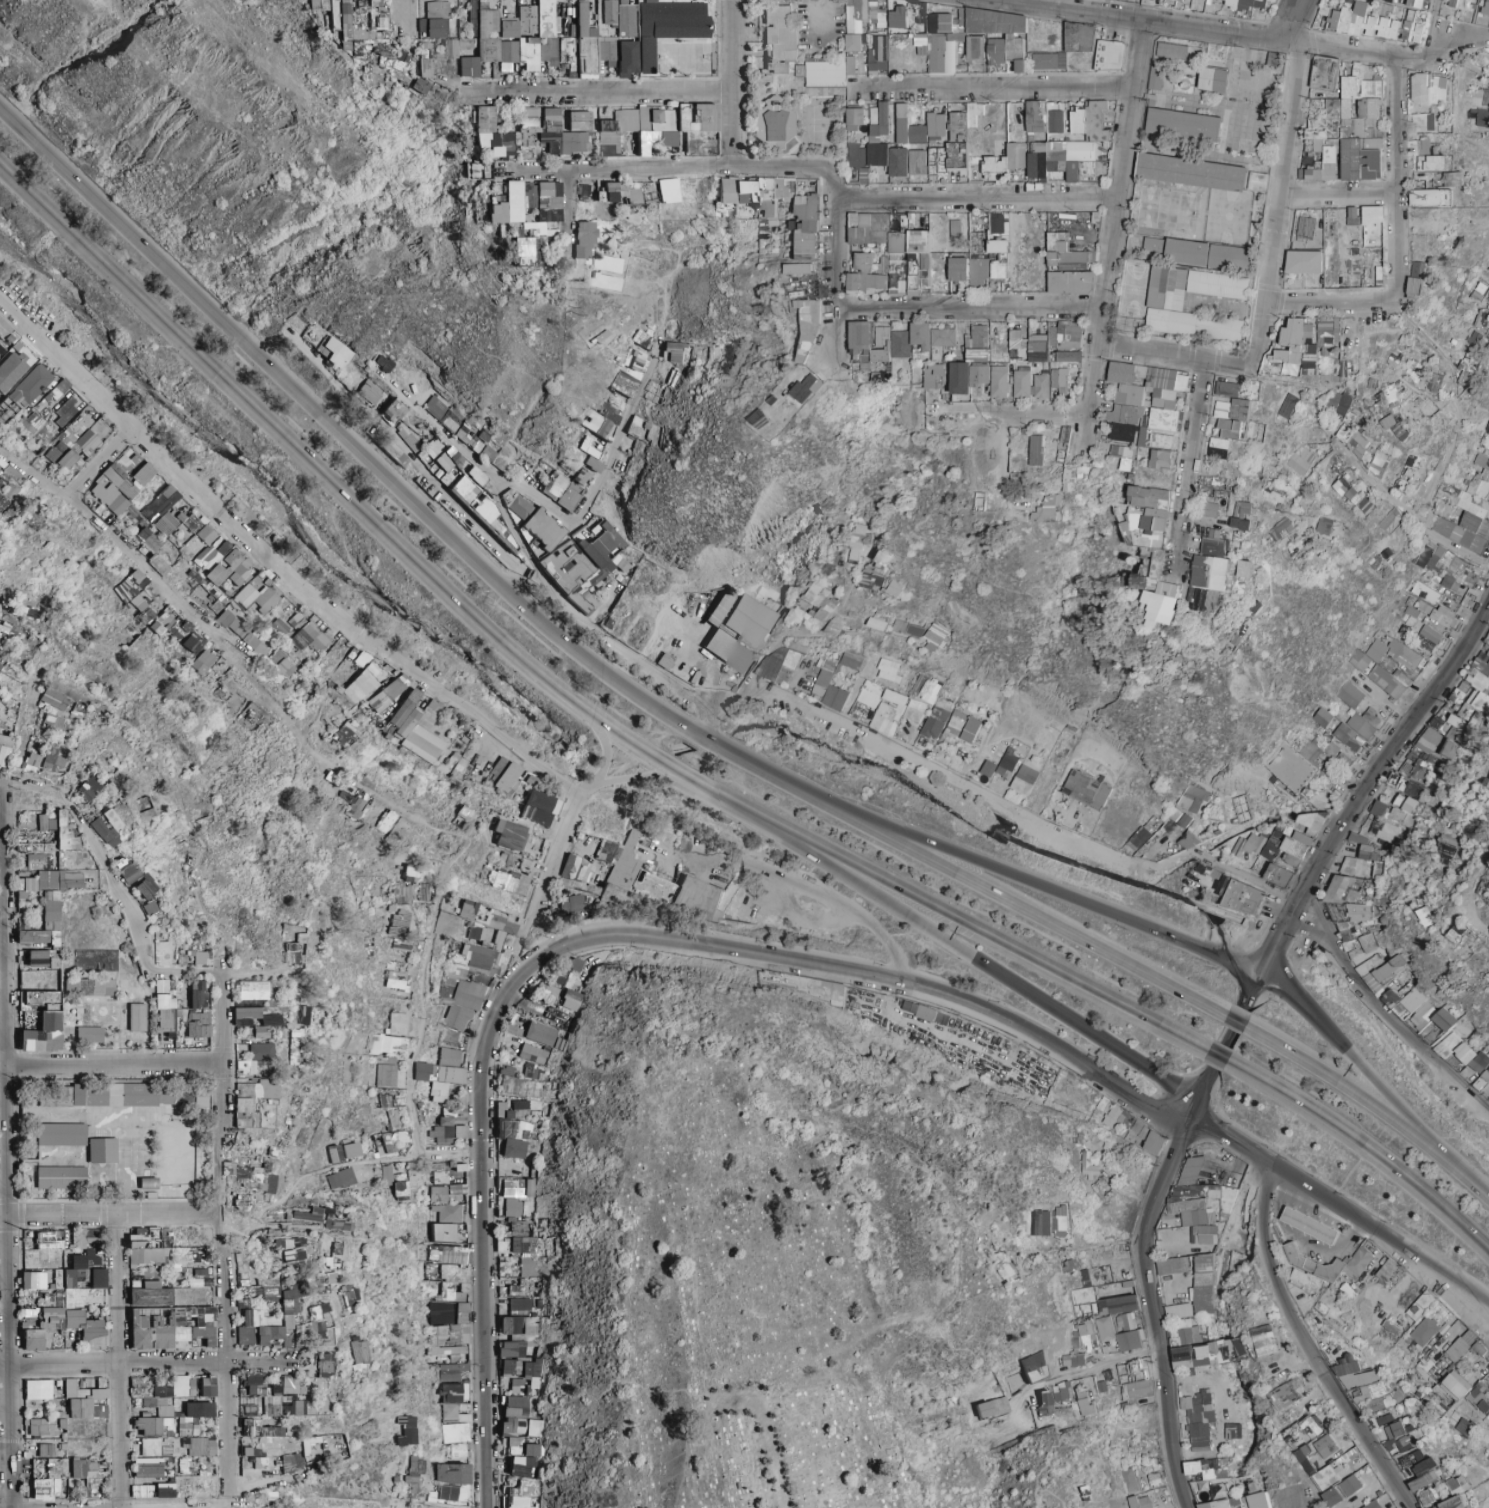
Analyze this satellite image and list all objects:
gas station: (1305, 1226)

